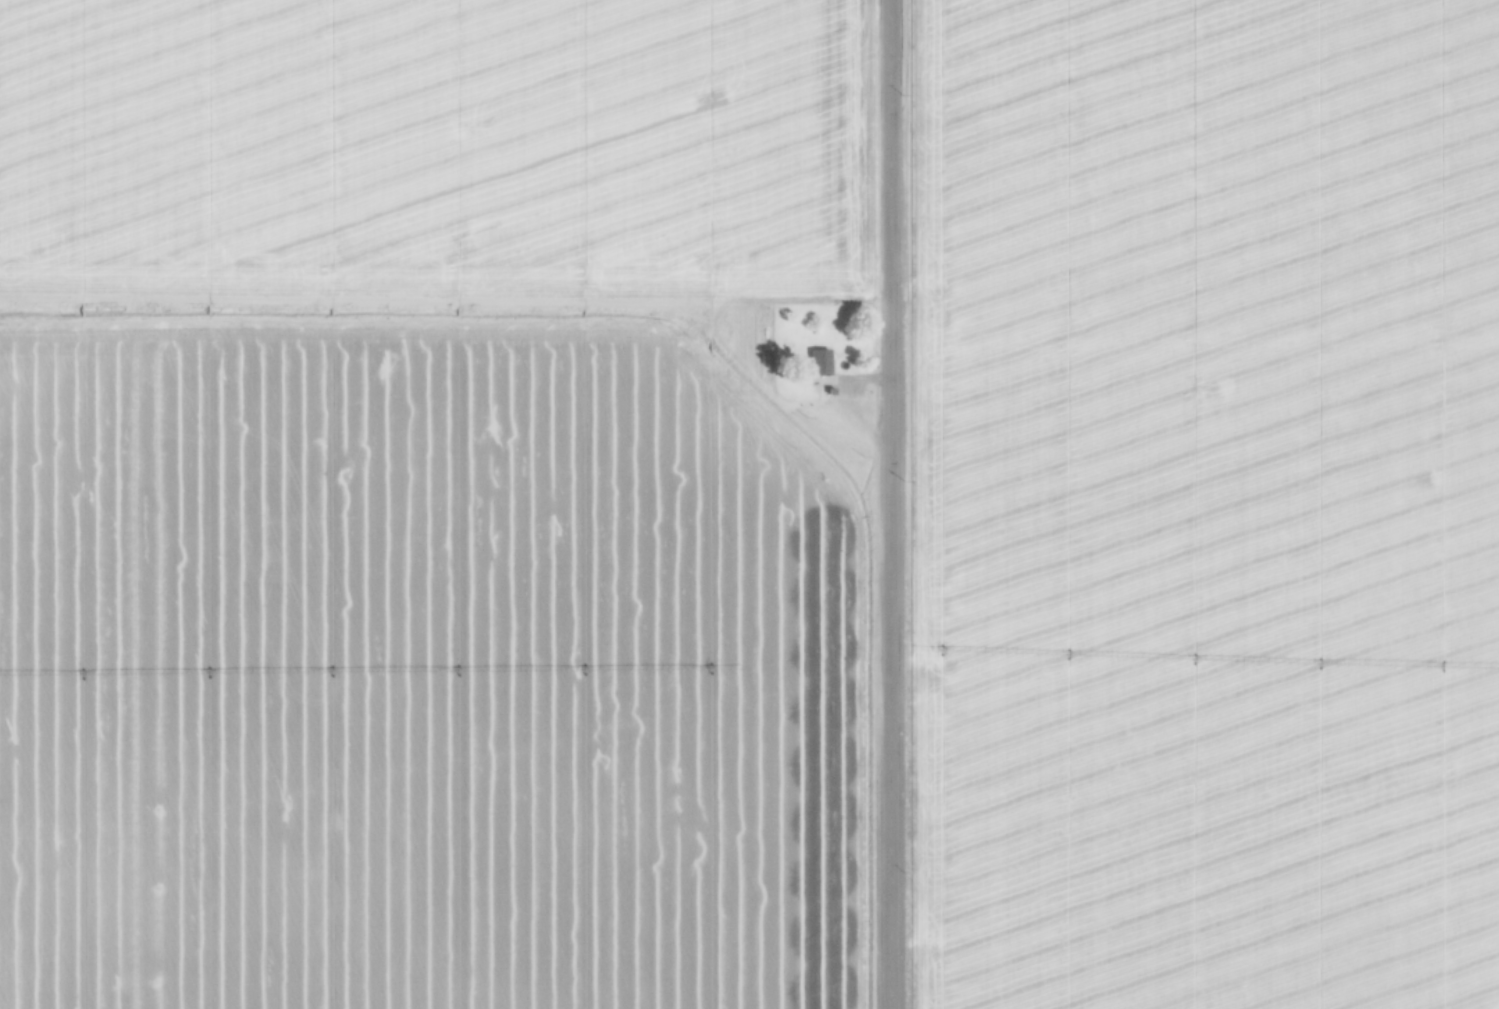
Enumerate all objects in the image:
building: (822, 363)
road: (757, 386)
road: (845, 408)
road: (888, 504)

